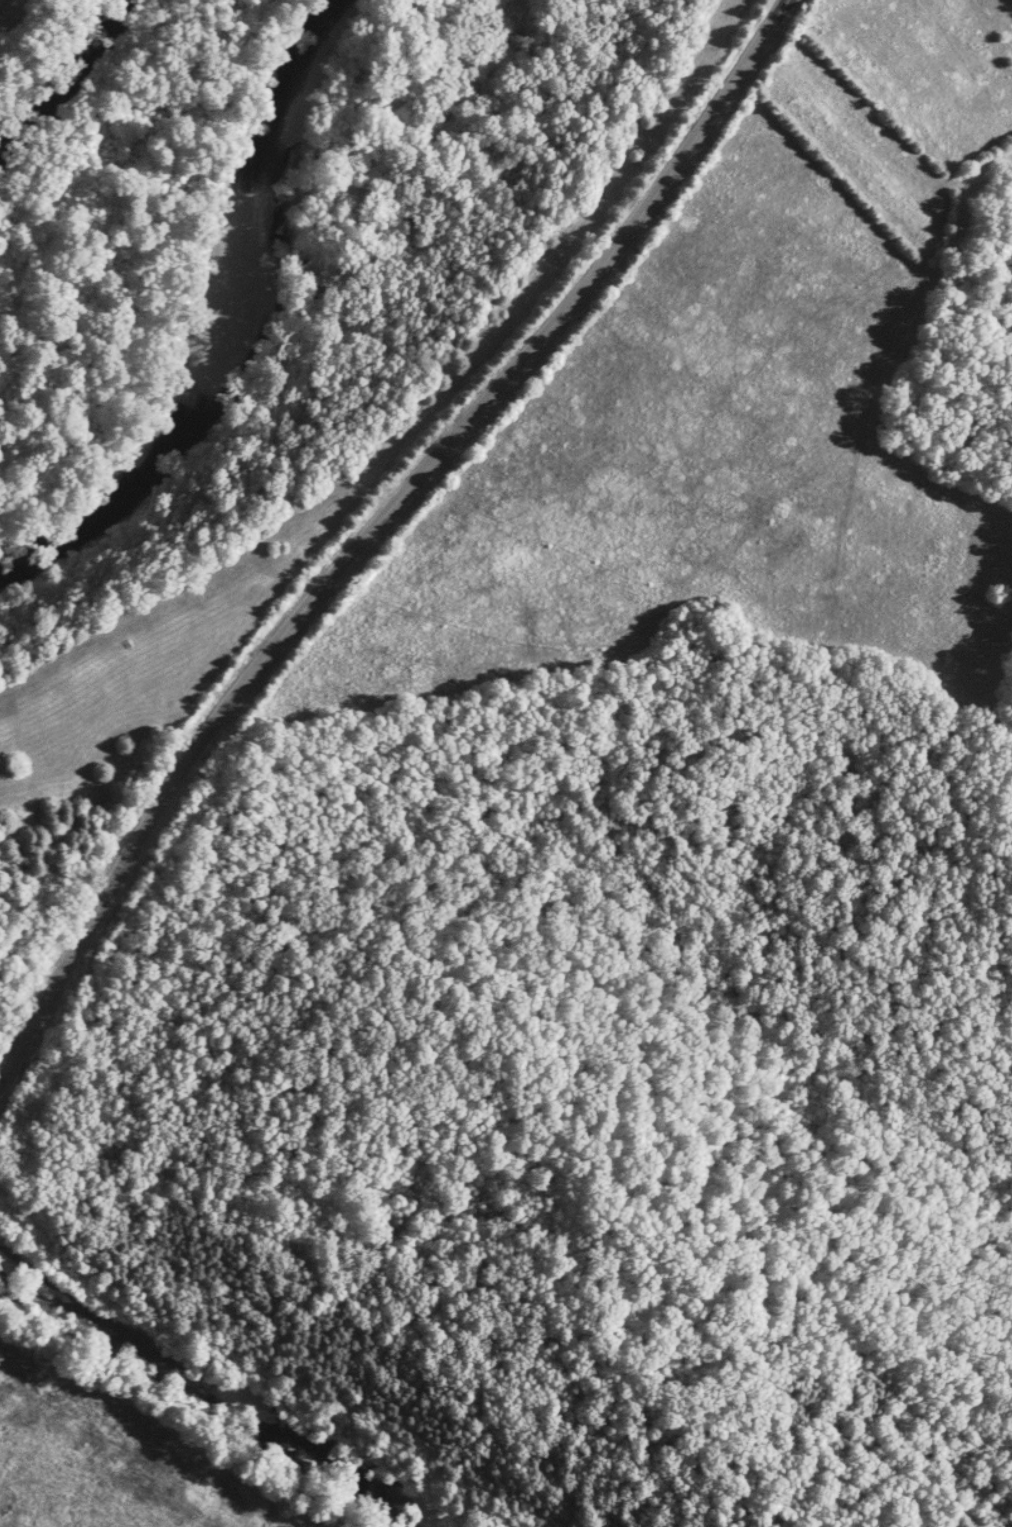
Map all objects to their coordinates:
river: (234, 333)
road: (374, 527)

